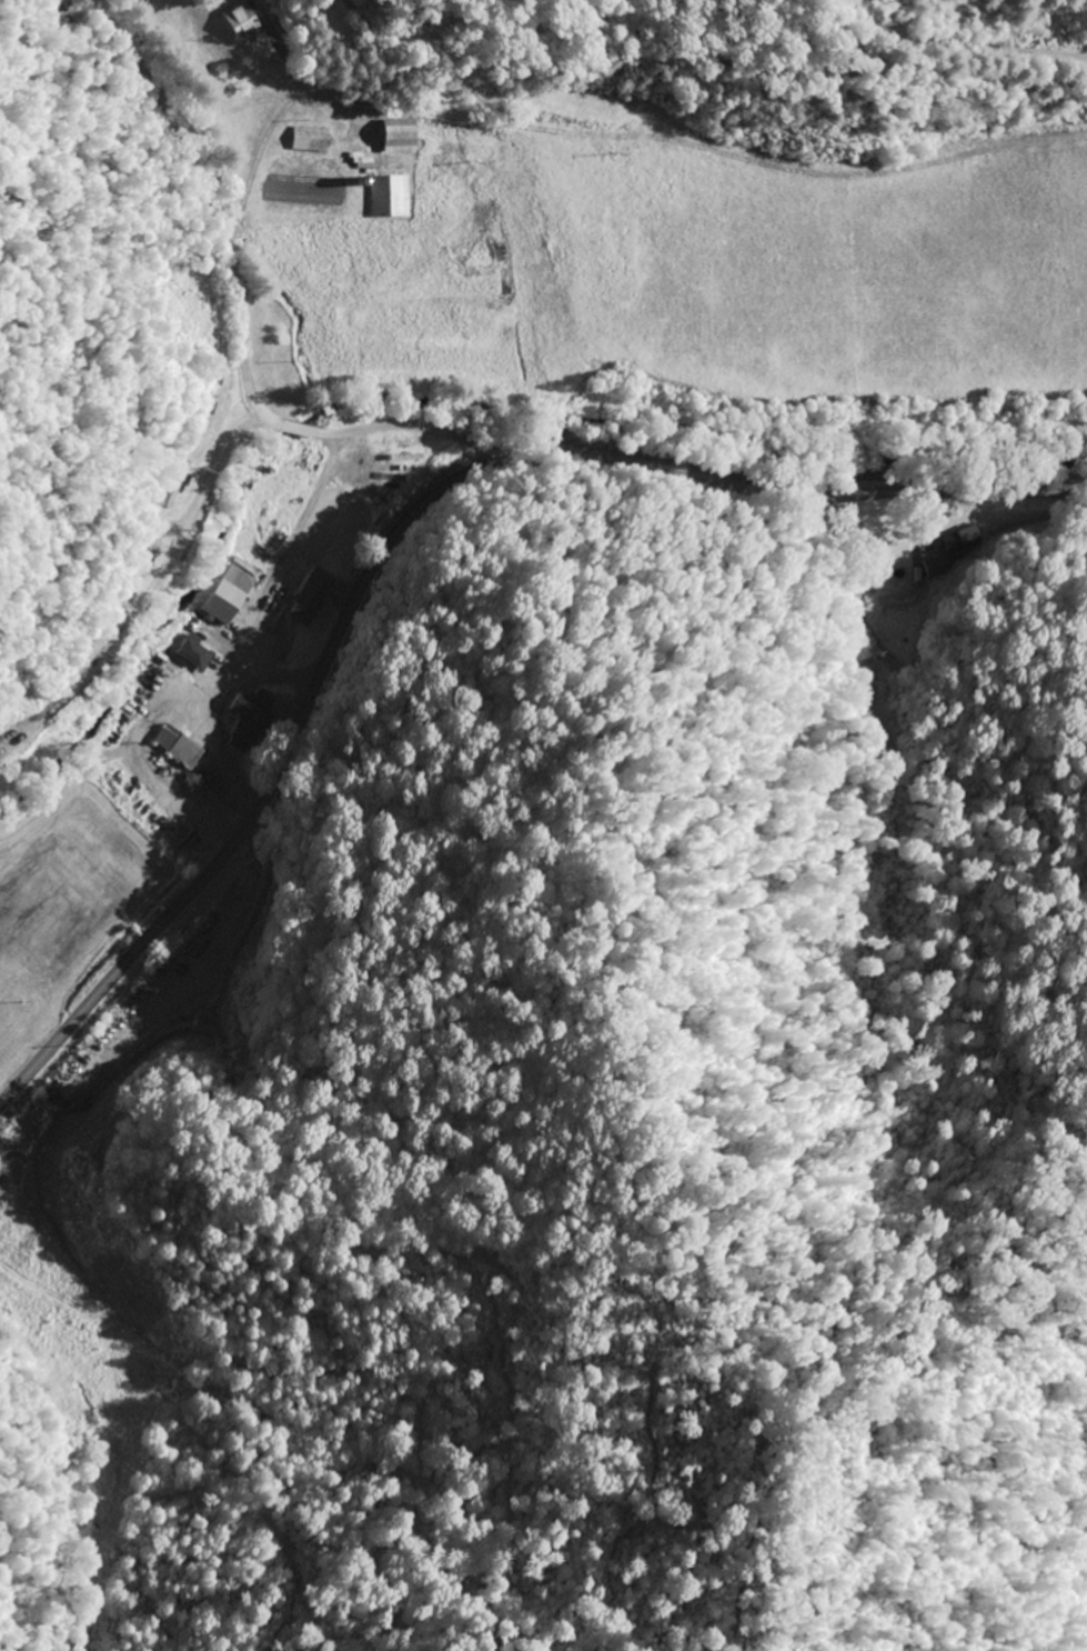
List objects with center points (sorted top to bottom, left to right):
building: (241, 22)
building: (403, 136)
building: (313, 140)
building: (392, 196)
road: (246, 317)
road: (396, 522)
road: (134, 578)
building: (228, 594)
building: (313, 596)
building: (197, 652)
building: (251, 721)
building: (2, 747)
building: (179, 747)
building: (2, 1219)
building: (13, 1237)
building: (71, 1401)

